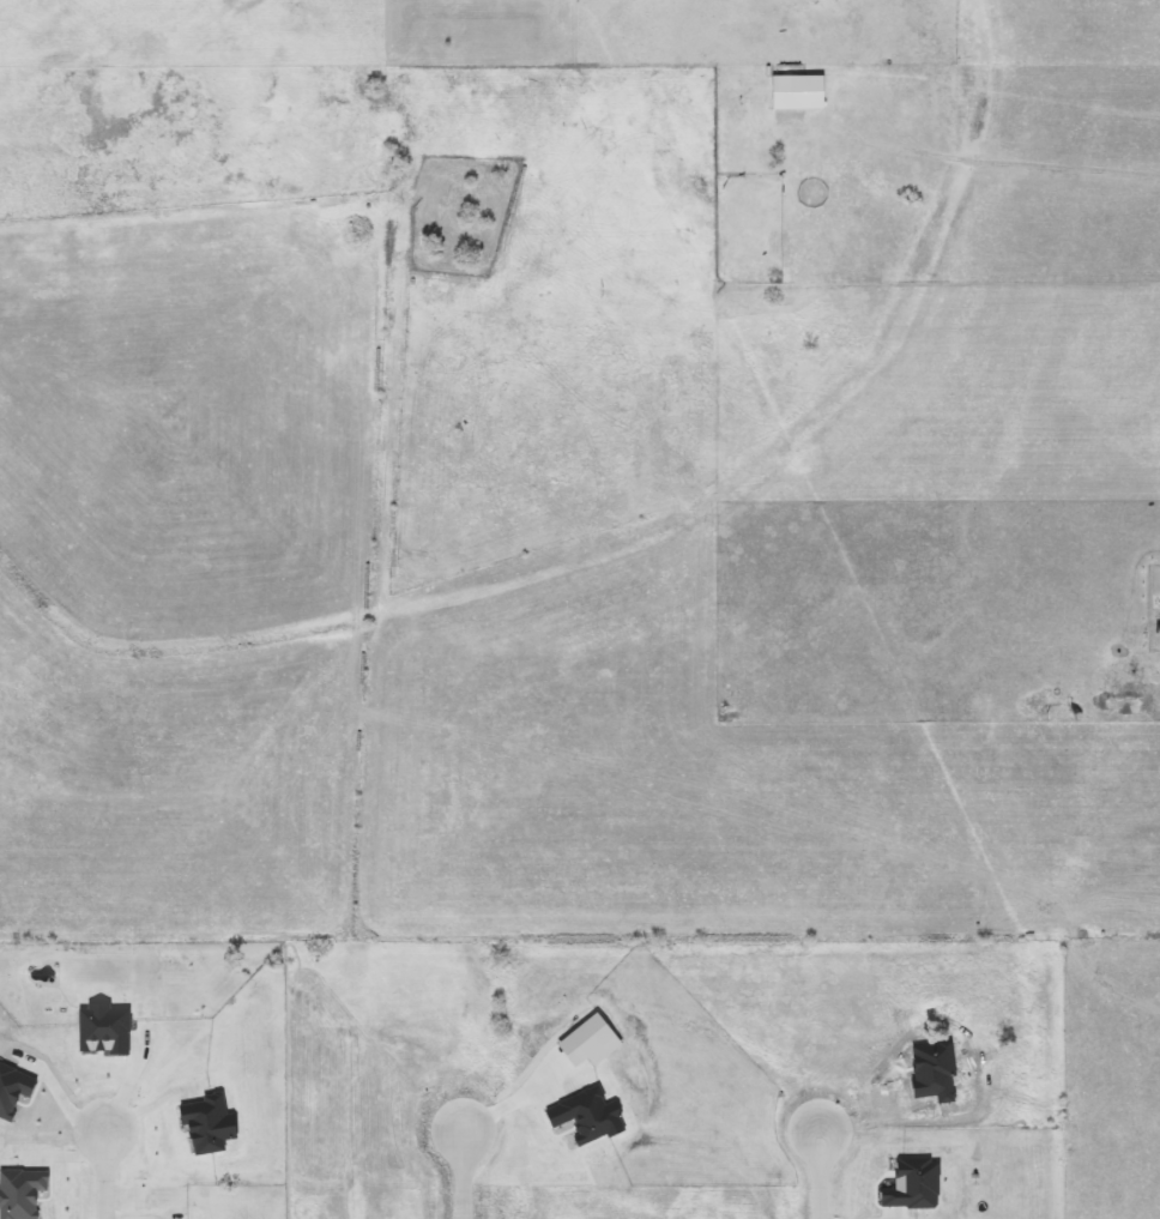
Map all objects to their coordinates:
road: (822, 1170)
road: (464, 1171)
road: (104, 1173)

